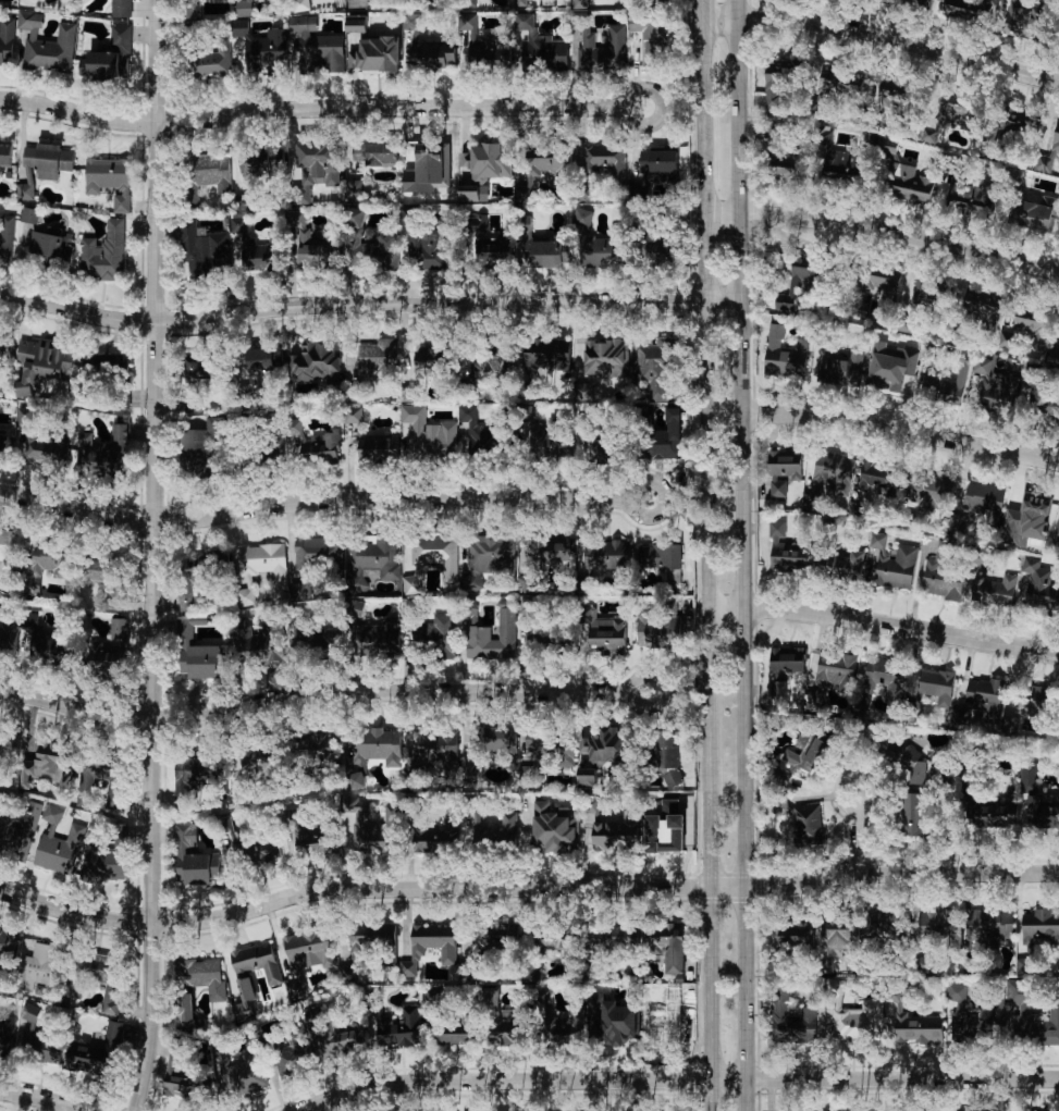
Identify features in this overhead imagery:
building: (667, 1)
building: (911, 2)
building: (521, 3)
building: (580, 3)
building: (299, 5)
building: (122, 8)
building: (244, 8)
building: (970, 10)
building: (1025, 20)
building: (411, 21)
building: (356, 23)
building: (303, 24)
road: (883, 37)
building: (652, 39)
building: (7, 41)
building: (47, 42)
building: (540, 45)
building: (484, 47)
building: (263, 48)
building: (603, 50)
building: (321, 52)
building: (112, 54)
building: (377, 55)
building: (432, 57)
building: (207, 58)
building: (82, 63)
building: (777, 79)
building: (840, 82)
building: (901, 96)
road: (321, 109)
building: (953, 115)
building: (1056, 136)
building: (374, 152)
building: (5, 155)
building: (607, 160)
building: (52, 161)
building: (488, 161)
building: (30, 162)
building: (262, 162)
building: (1044, 163)
building: (789, 164)
building: (843, 165)
building: (315, 169)
building: (550, 169)
building: (655, 170)
building: (211, 171)
building: (109, 180)
building: (909, 184)
building: (354, 188)
building: (25, 192)
building: (473, 193)
building: (971, 198)
building: (243, 202)
building: (1034, 212)
building: (29, 215)
building: (356, 218)
building: (236, 224)
road: (883, 231)
building: (7, 234)
building: (601, 242)
building: (489, 243)
building: (51, 244)
building: (309, 248)
building: (429, 249)
building: (378, 250)
building: (103, 252)
building: (551, 254)
building: (260, 255)
building: (802, 279)
building: (881, 283)
building: (928, 293)
road: (368, 304)
building: (983, 306)
building: (1027, 326)
building: (5, 347)
building: (1055, 353)
building: (547, 354)
building: (784, 354)
building: (379, 355)
building: (605, 357)
building: (264, 358)
building: (490, 359)
building: (44, 362)
building: (316, 362)
building: (426, 362)
building: (109, 366)
building: (656, 366)
building: (838, 366)
building: (890, 366)
building: (204, 368)
building: (948, 384)
building: (995, 387)
building: (353, 415)
building: (24, 418)
road: (883, 425)
building: (477, 432)
building: (428, 434)
building: (549, 437)
building: (664, 437)
building: (310, 443)
building: (3, 445)
building: (273, 445)
building: (201, 446)
building: (378, 447)
building: (45, 448)
building: (603, 453)
building: (102, 454)
building: (783, 470)
building: (829, 477)
building: (882, 479)
building: (931, 491)
road: (323, 499)
building: (978, 506)
building: (1027, 520)
building: (1056, 533)
building: (9, 550)
building: (547, 551)
building: (318, 552)
building: (785, 552)
building: (660, 555)
road: (705, 555)
road: (742, 555)
road: (155, 556)
building: (606, 556)
building: (377, 558)
building: (432, 559)
building: (487, 559)
building: (52, 563)
building: (889, 563)
building: (842, 564)
building: (206, 565)
building: (261, 568)
building: (673, 576)
building: (941, 576)
building: (103, 579)
building: (529, 581)
building: (992, 588)
building: (1039, 588)
building: (186, 597)
building: (527, 606)
building: (236, 626)
road: (882, 626)
building: (120, 628)
building: (660, 629)
building: (478, 632)
building: (9, 635)
building: (607, 635)
building: (435, 637)
building: (379, 638)
building: (320, 641)
building: (266, 643)
building: (49, 650)
building: (106, 662)
building: (785, 669)
building: (832, 674)
building: (884, 679)
building: (937, 684)
road: (322, 696)
building: (1035, 701)
building: (981, 702)
building: (321, 744)
building: (378, 745)
building: (606, 745)
building: (550, 746)
building: (488, 748)
building: (887, 748)
building: (434, 752)
building: (809, 756)
building: (667, 758)
building: (48, 766)
building: (916, 771)
building: (193, 773)
building: (1030, 776)
building: (587, 778)
building: (86, 792)
building: (591, 806)
building: (1044, 811)
building: (53, 814)
building: (912, 814)
building: (1002, 815)
building: (802, 820)
building: (372, 826)
building: (19, 827)
building: (554, 828)
building: (493, 829)
building: (665, 829)
road: (861, 829)
building: (616, 834)
building: (440, 838)
building: (316, 841)
building: (245, 844)
building: (61, 850)
building: (194, 857)
building: (106, 859)
road: (525, 887)
building: (883, 924)
building: (989, 926)
building: (1037, 933)
building: (795, 934)
building: (841, 935)
building: (616, 937)
building: (491, 940)
building: (670, 945)
building: (367, 946)
building: (429, 946)
building: (7, 952)
building: (307, 955)
building: (257, 962)
building: (41, 966)
building: (202, 975)
building: (101, 980)
building: (245, 998)
building: (30, 1012)
building: (186, 1013)
building: (961, 1014)
building: (855, 1016)
building: (1033, 1019)
building: (504, 1020)
building: (613, 1020)
building: (793, 1021)
building: (918, 1026)
building: (402, 1029)
building: (457, 1032)
building: (5, 1033)
building: (336, 1036)
building: (47, 1049)
building: (98, 1052)
building: (294, 1057)
building: (244, 1074)
road: (677, 1078)
building: (182, 1086)
road: (45, 1098)

